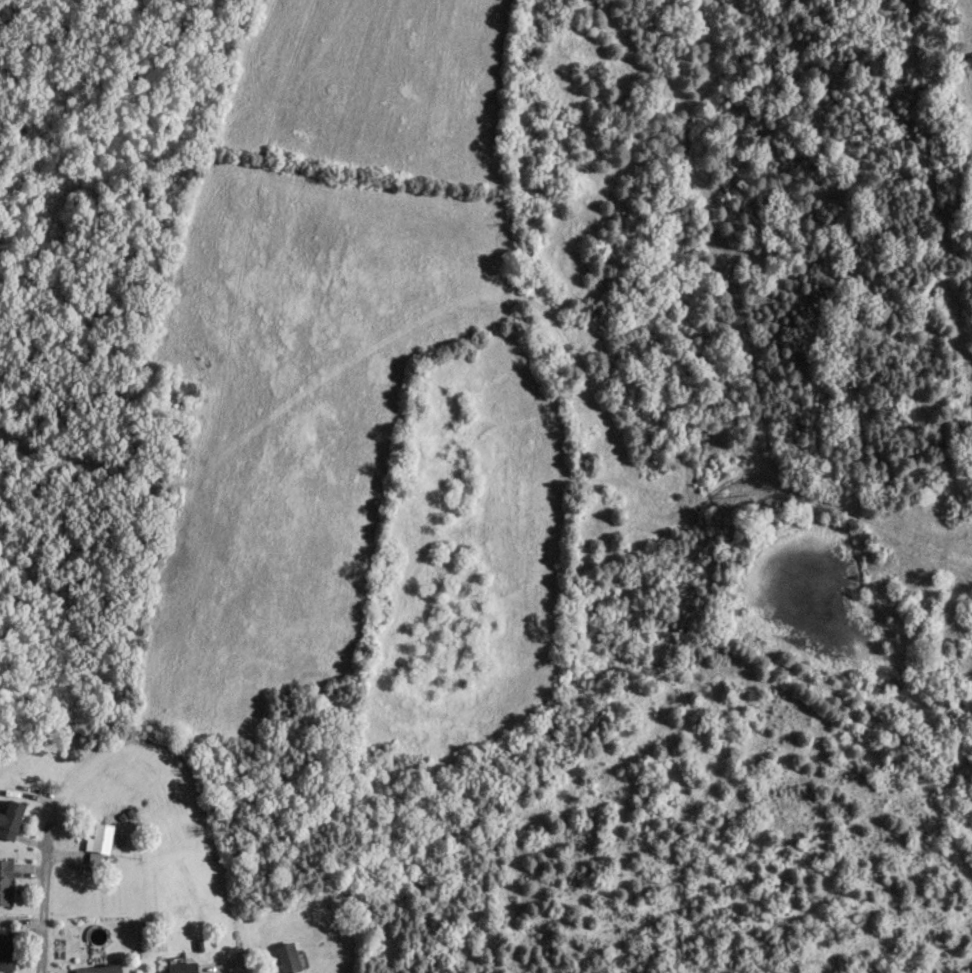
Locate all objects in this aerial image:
building: (10, 817)
building: (99, 837)
building: (5, 880)
road: (37, 895)
building: (5, 948)
building: (287, 957)
building: (182, 967)
building: (99, 969)

